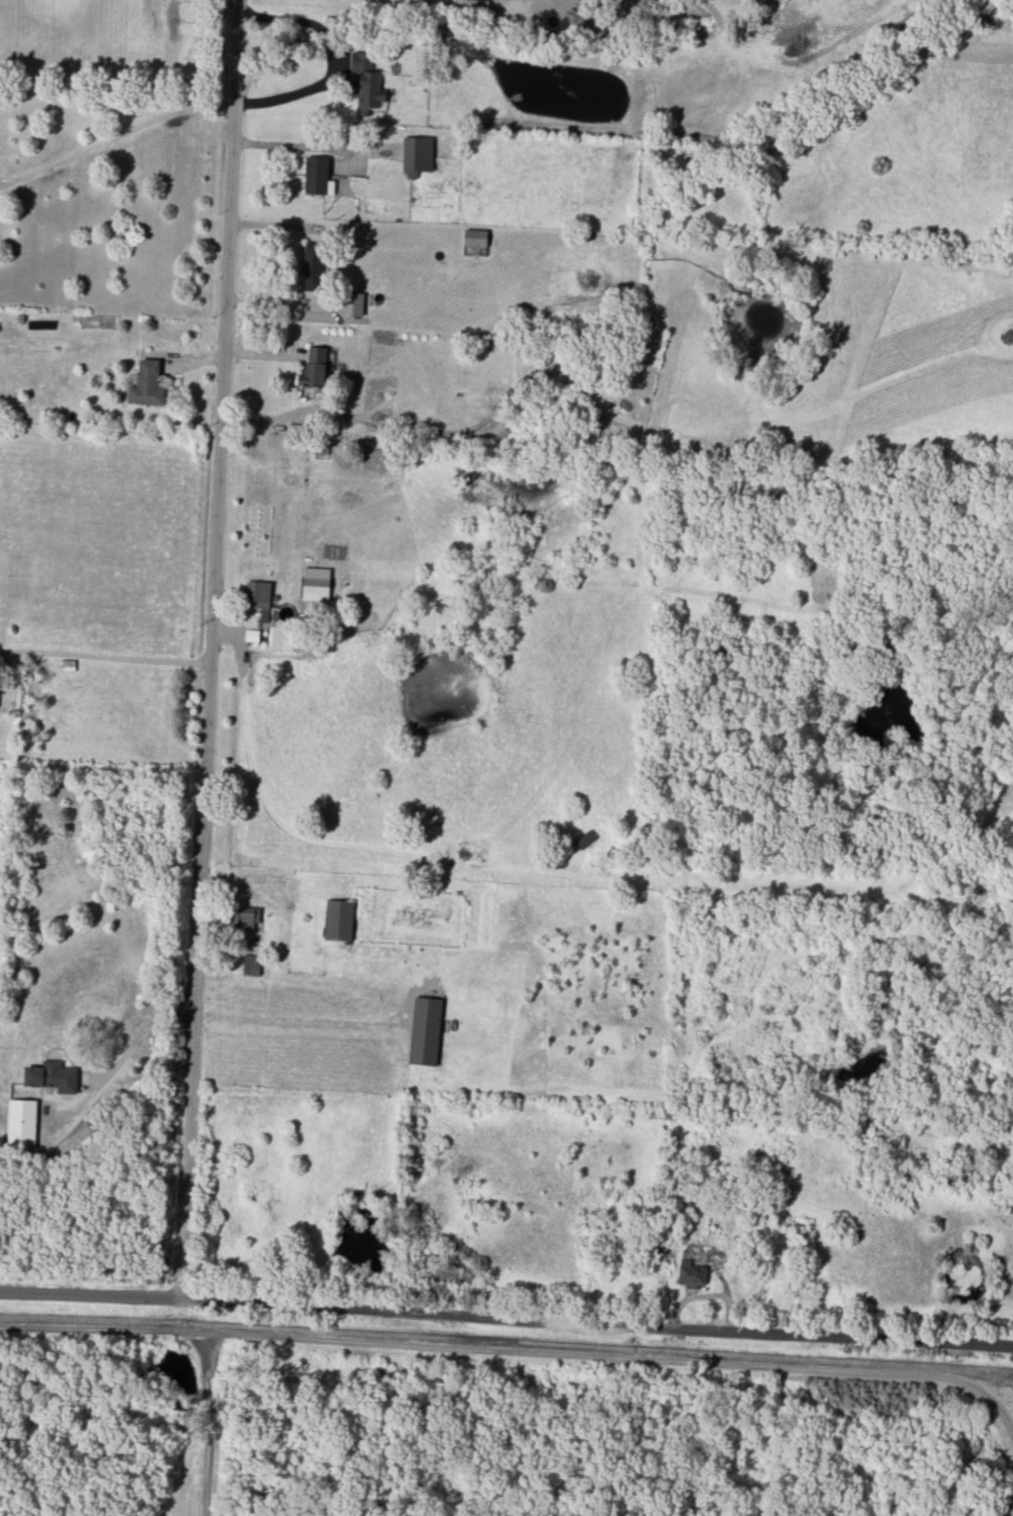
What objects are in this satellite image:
road: (278, 17)
building: (368, 80)
road: (299, 93)
road: (117, 136)
road: (290, 145)
building: (417, 156)
building: (317, 176)
road: (273, 225)
building: (310, 268)
road: (277, 303)
building: (353, 304)
building: (314, 368)
building: (146, 384)
building: (315, 584)
building: (257, 596)
road: (212, 649)
road: (107, 655)
building: (247, 918)
building: (338, 920)
building: (251, 964)
building: (425, 1031)
road: (129, 1049)
building: (52, 1076)
building: (21, 1121)
building: (690, 1274)
road: (506, 1314)
road: (497, 1351)
road: (1003, 1409)
road: (209, 1420)

